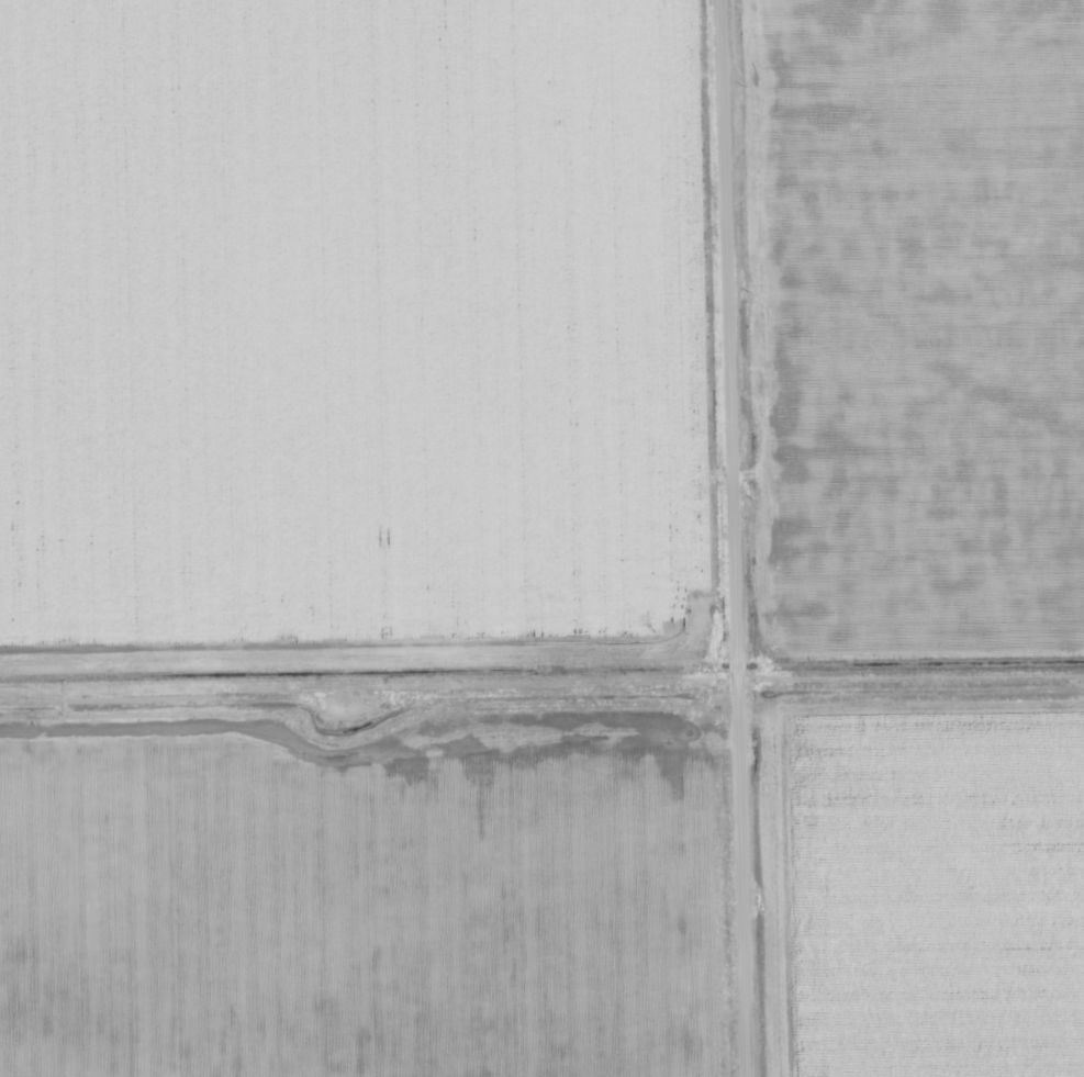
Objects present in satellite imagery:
road: (733, 538)

